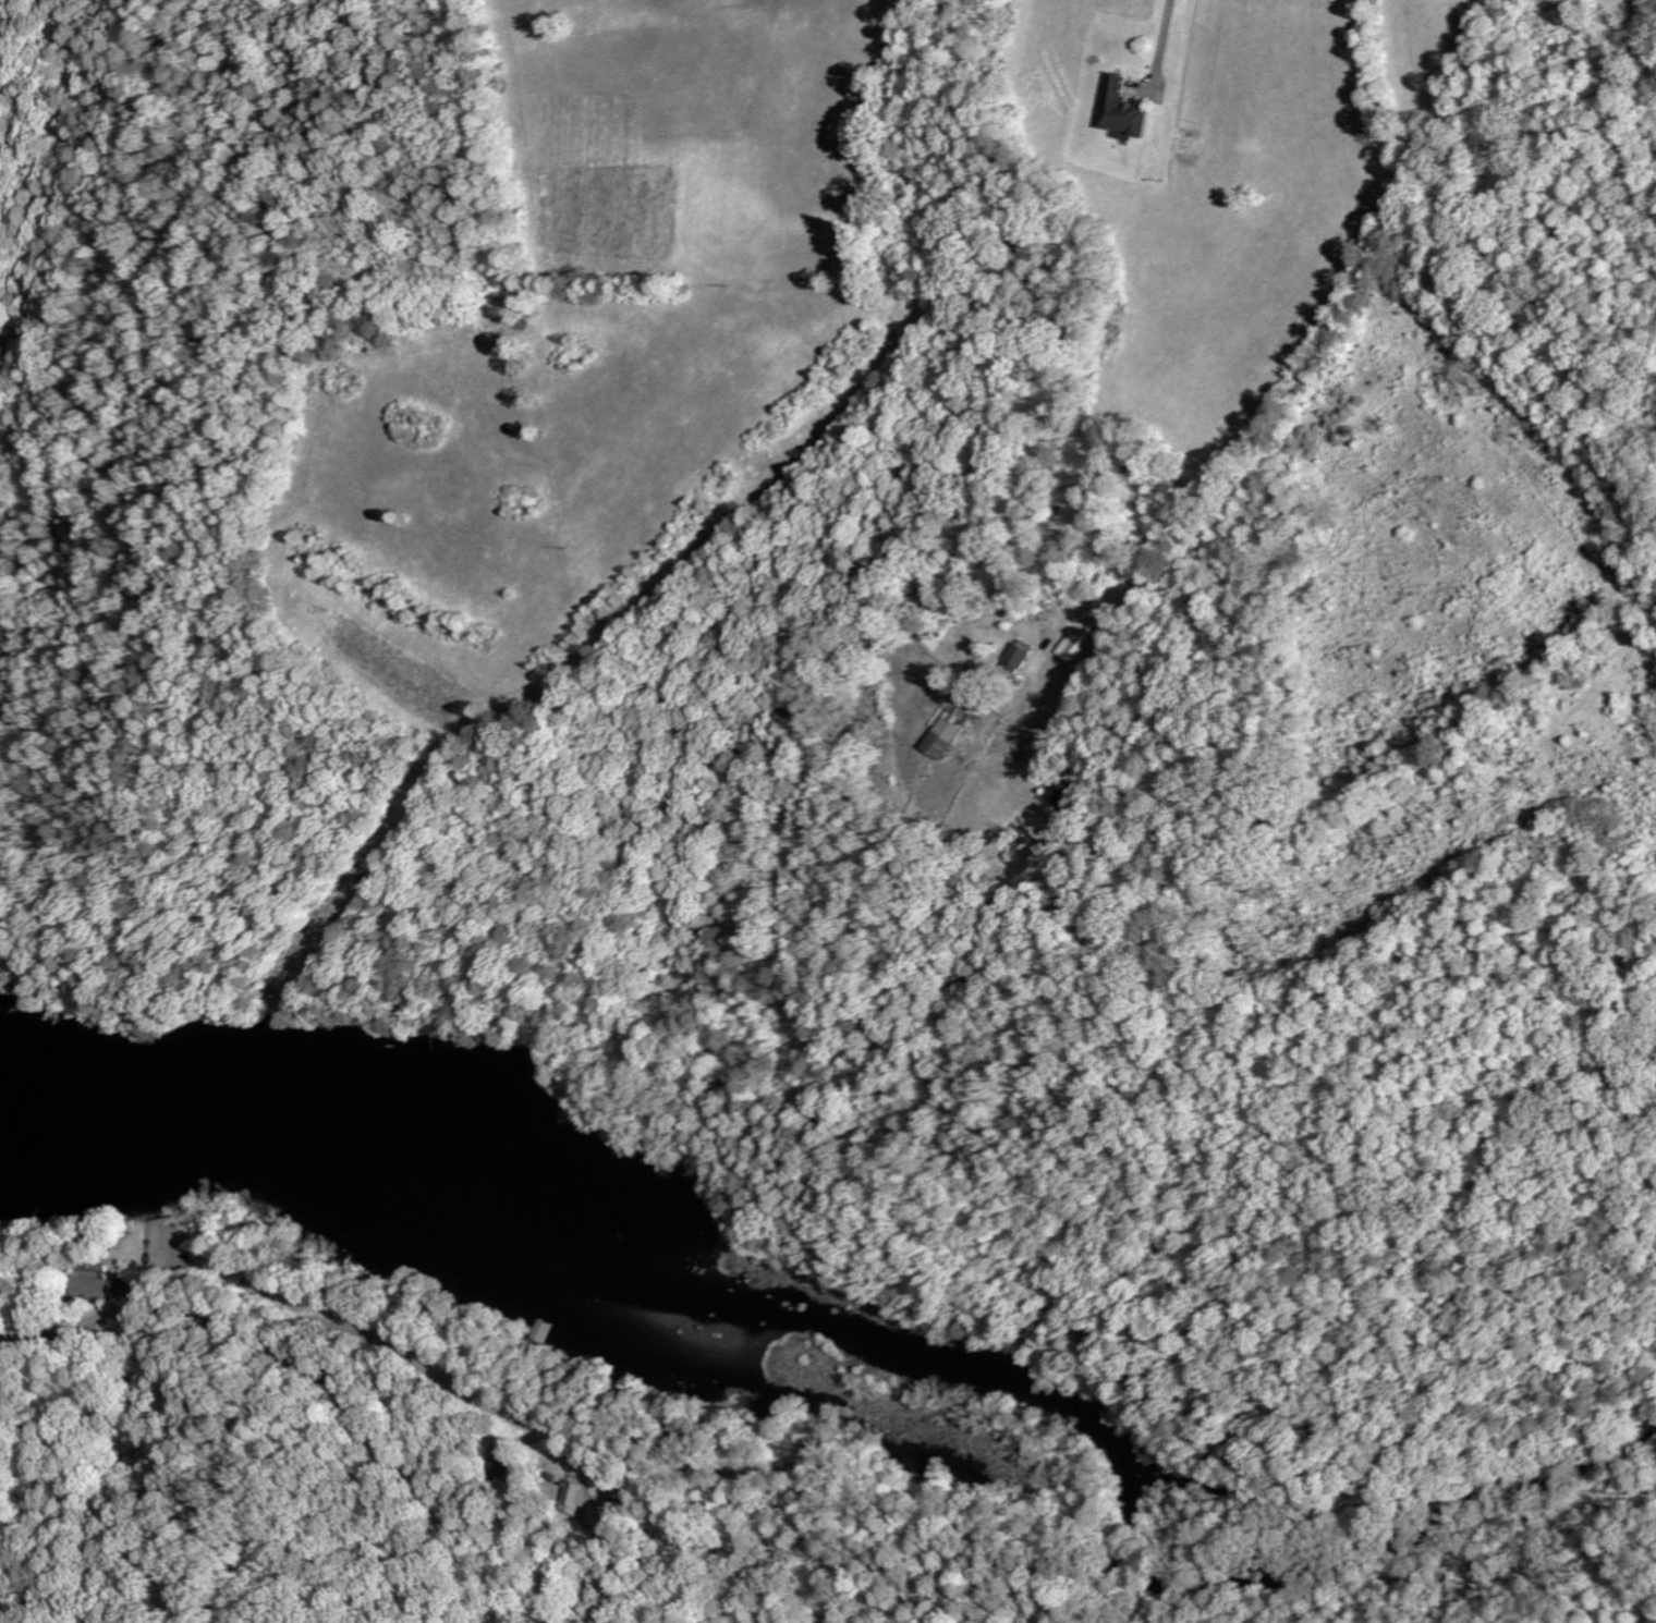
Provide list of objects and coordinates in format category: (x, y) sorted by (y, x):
building: (1121, 110)
building: (1024, 659)
building: (108, 1286)
road: (321, 1367)

